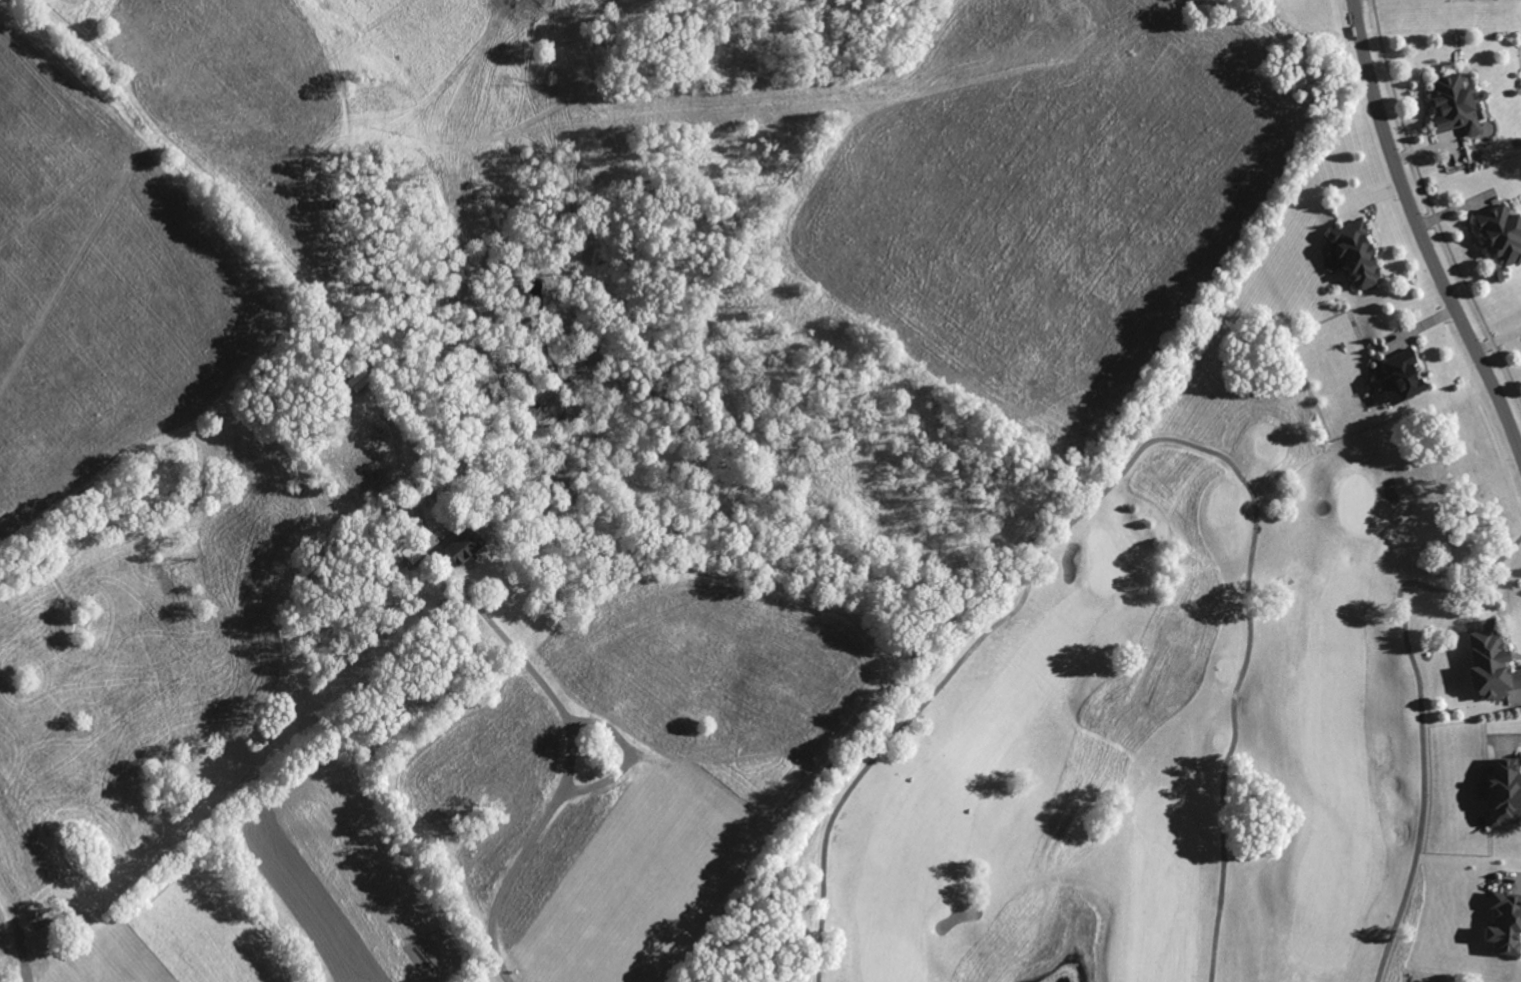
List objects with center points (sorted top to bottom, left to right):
building: (1461, 106)
road: (1420, 231)
building: (1505, 235)
building: (1364, 253)
building: (1408, 378)
road: (346, 425)
building: (471, 546)
road: (566, 718)
park: (1168, 721)
building: (1508, 793)
building: (1509, 925)

